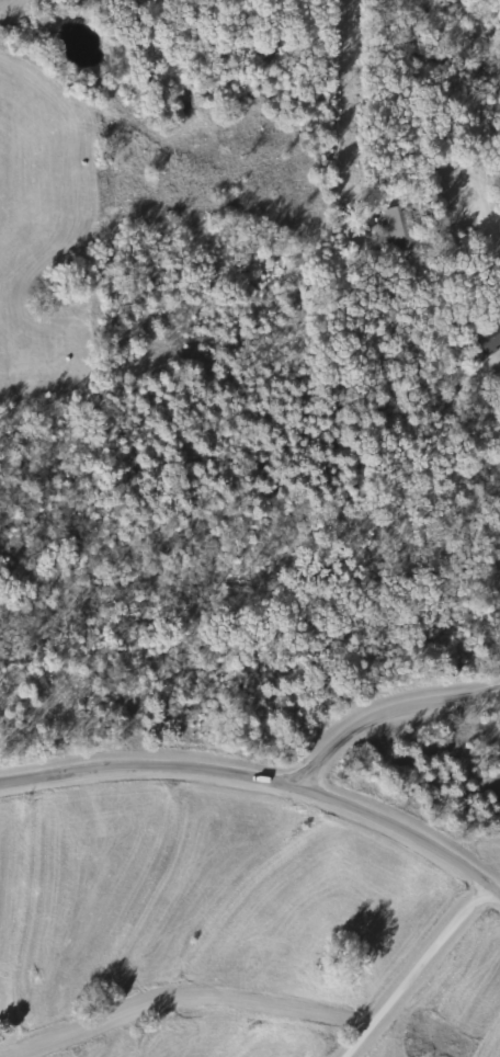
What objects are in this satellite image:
road: (237, 190)
road: (481, 203)
building: (488, 338)
road: (387, 709)
road: (263, 774)
road: (416, 969)
road: (180, 991)
park: (0, 1013)

